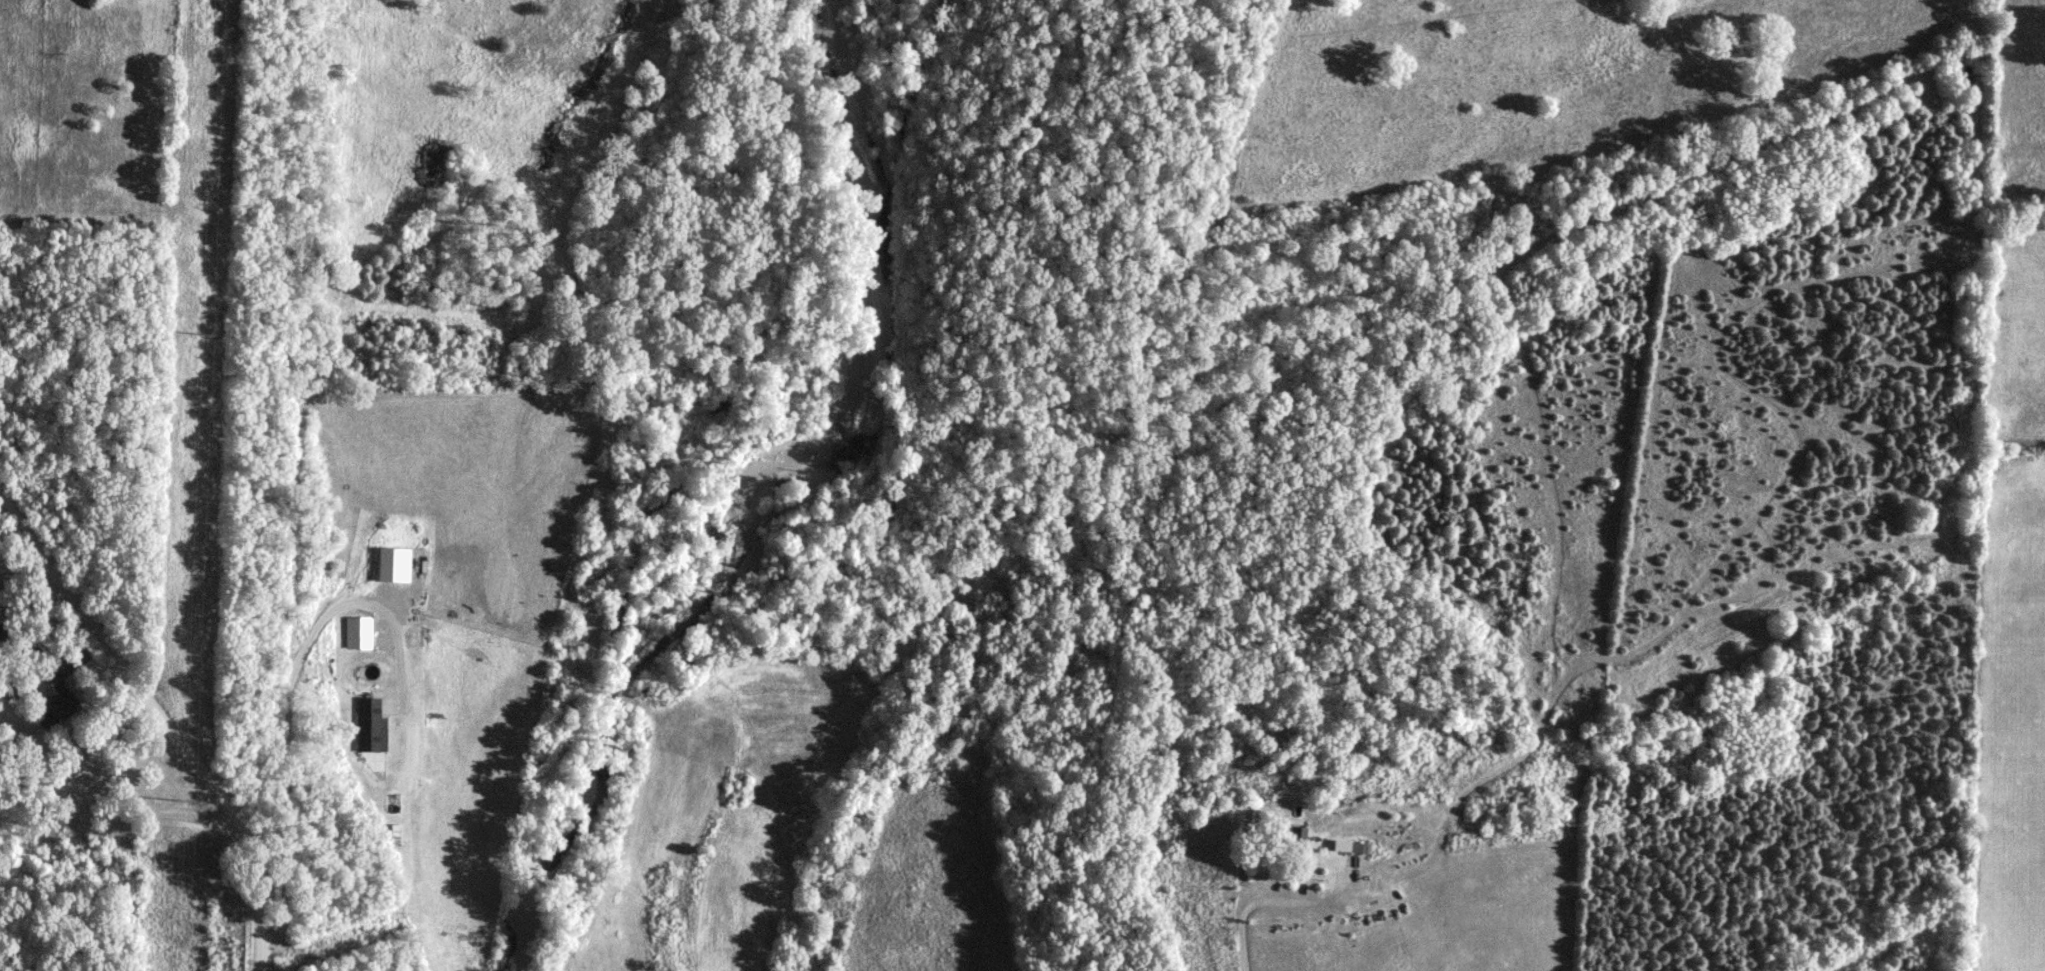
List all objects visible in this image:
building: (0, 621)
building: (359, 633)
road: (160, 721)
building: (374, 731)
building: (1303, 834)
building: (1353, 848)
road: (1257, 906)

